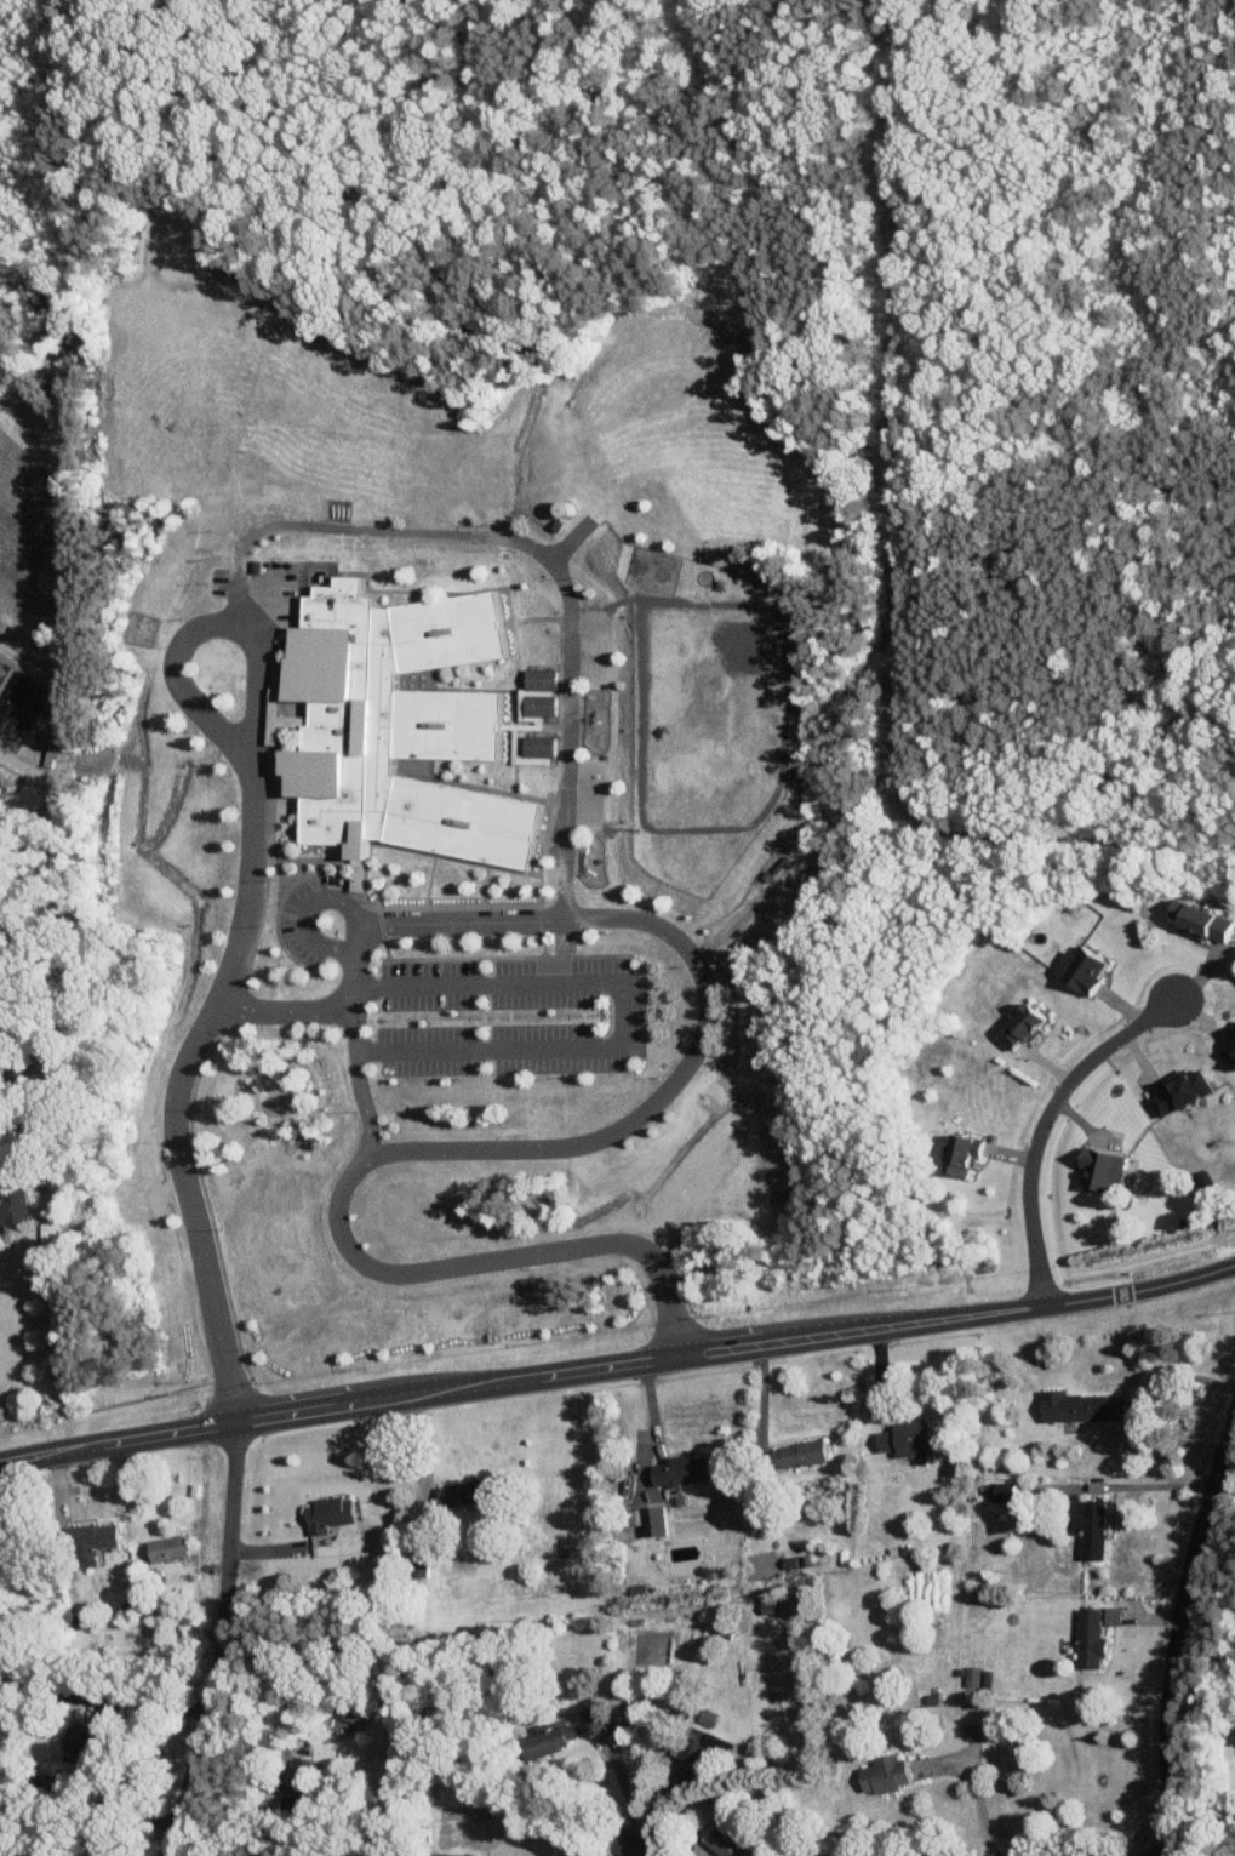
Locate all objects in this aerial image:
park: (44, 118)
road: (341, 527)
building: (256, 566)
parking lot: (259, 590)
road: (239, 596)
park: (588, 645)
park: (716, 663)
building: (534, 678)
road: (562, 696)
building: (533, 704)
building: (13, 706)
track: (707, 713)
building: (395, 725)
building: (534, 744)
road: (246, 916)
road: (304, 918)
parking lot: (301, 919)
building: (1200, 920)
road: (351, 941)
building: (1080, 967)
road: (705, 1004)
road: (310, 1007)
road: (614, 1013)
parking lot: (618, 1016)
building: (1020, 1026)
building: (1234, 1038)
building: (1233, 1056)
road: (358, 1081)
building: (1179, 1090)
road: (1041, 1125)
building: (961, 1153)
building: (1099, 1167)
building: (11, 1205)
road: (494, 1258)
road: (618, 1364)
road: (1144, 1403)
building: (1080, 1406)
building: (905, 1438)
building: (797, 1454)
building: (680, 1470)
road: (1143, 1486)
building: (1001, 1491)
building: (465, 1492)
building: (326, 1513)
building: (1088, 1526)
building: (86, 1541)
building: (164, 1548)
building: (417, 1565)
building: (1111, 1615)
road: (1177, 1632)
building: (1088, 1638)
road: (219, 1640)
building: (971, 1675)
building: (984, 1678)
building: (348, 1713)
building: (590, 1723)
building: (970, 1731)
road: (271, 1738)
building: (545, 1740)
building: (79, 1743)
building: (698, 1744)
building: (882, 1774)
building: (297, 1783)
road: (87, 1799)
road: (977, 1805)
road: (258, 1832)
building: (725, 1843)
road: (630, 1844)
building: (451, 1854)

